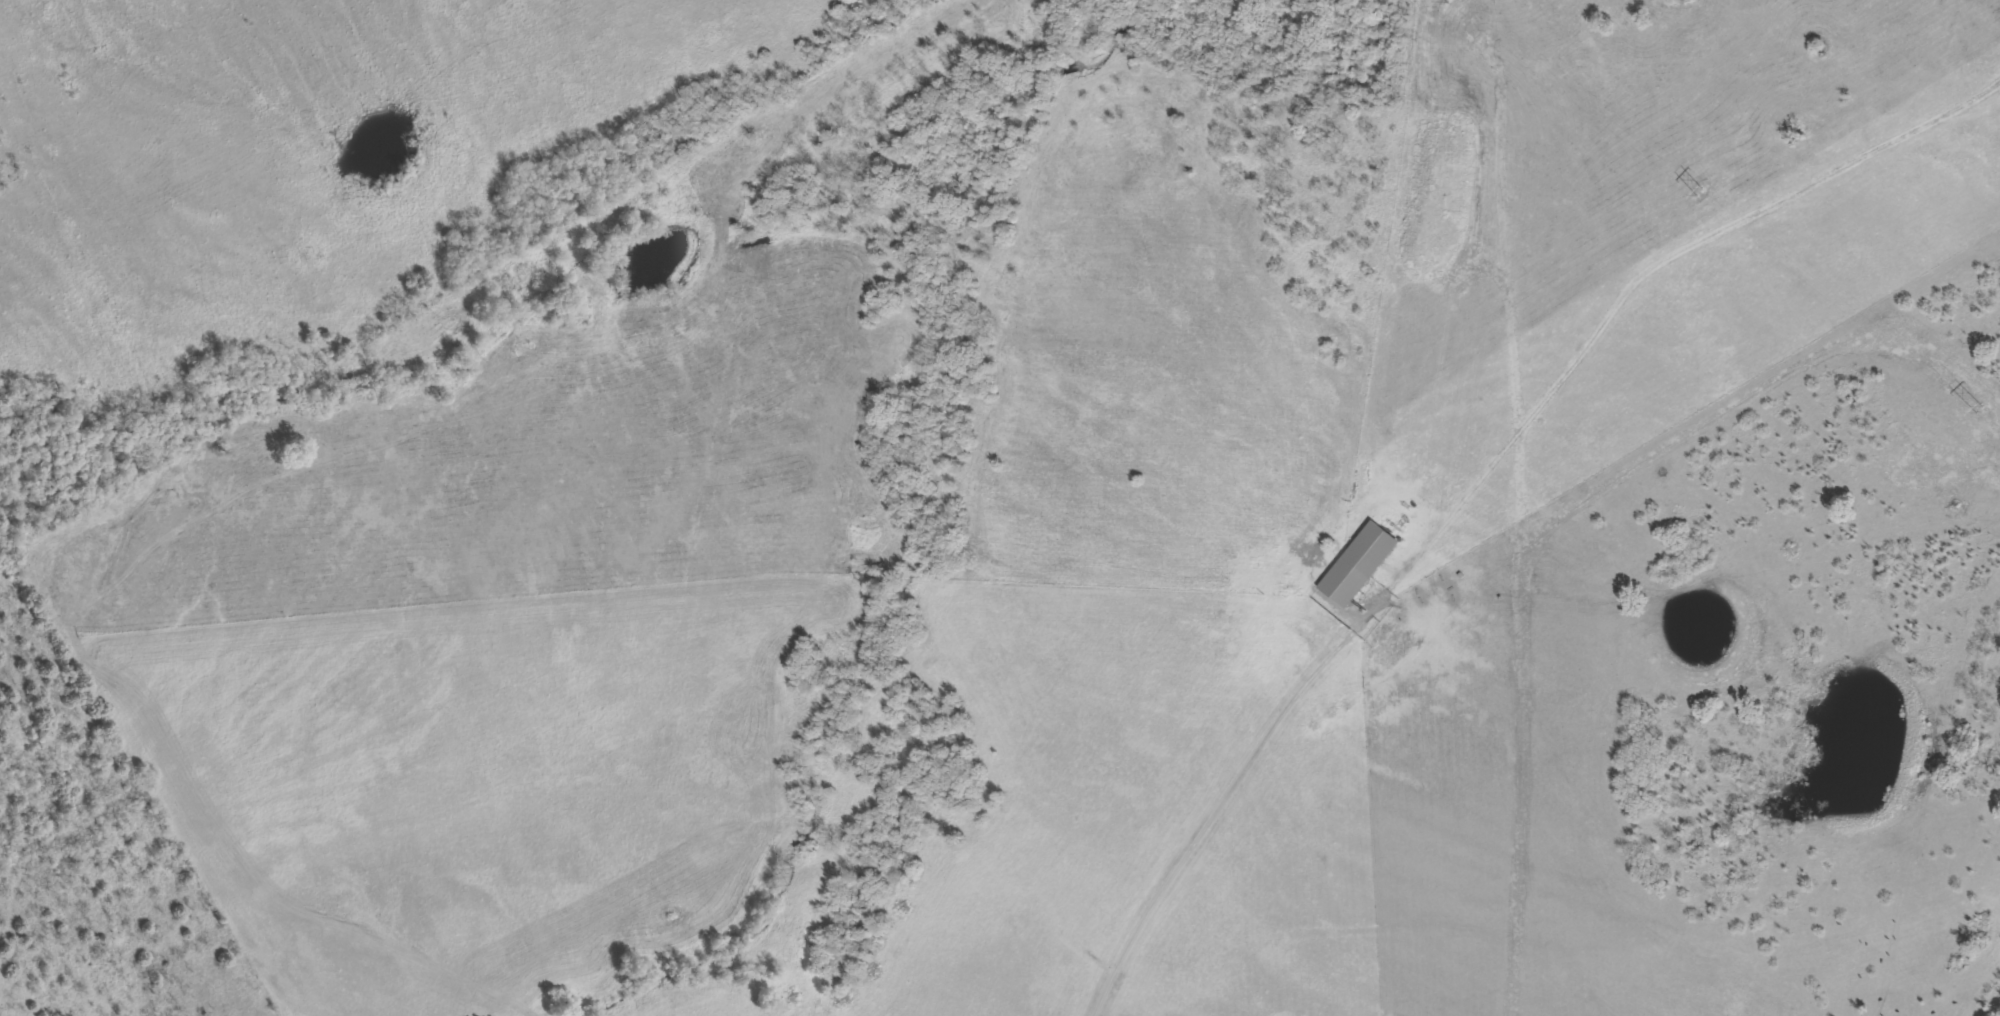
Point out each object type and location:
building: (1333, 621)

